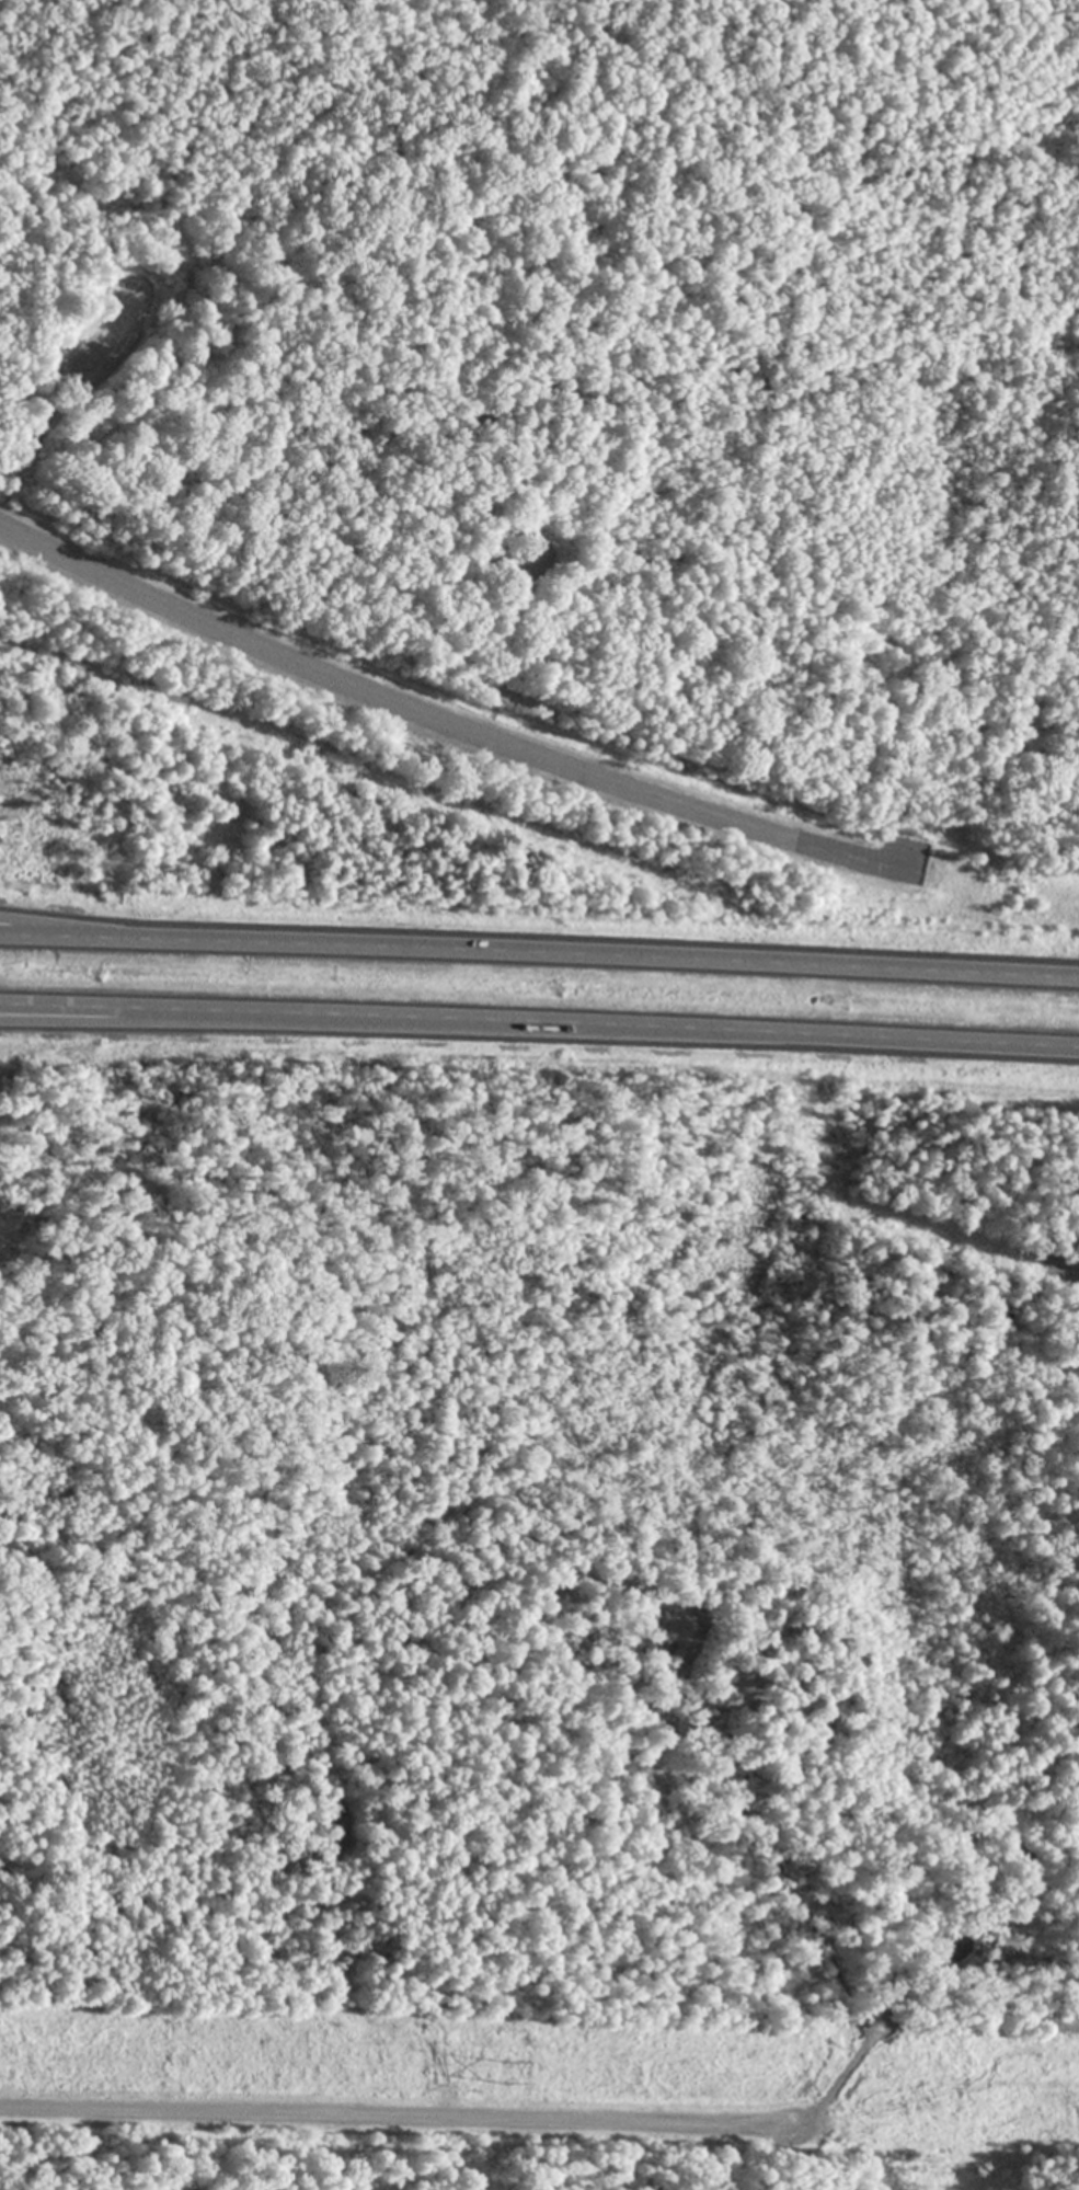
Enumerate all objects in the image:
park: (995, 438)
road: (443, 721)
road: (67, 926)
road: (539, 950)
road: (136, 1020)
road: (539, 1020)
road: (391, 2118)

